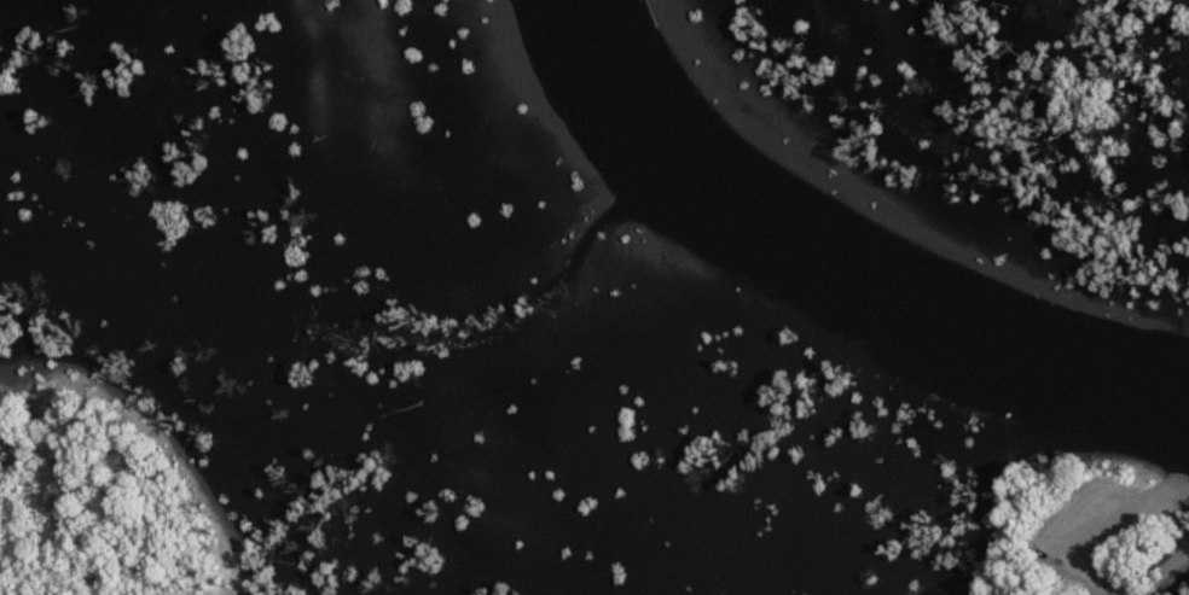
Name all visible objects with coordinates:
river: (843, 261)
road: (1113, 525)
road: (1161, 571)

